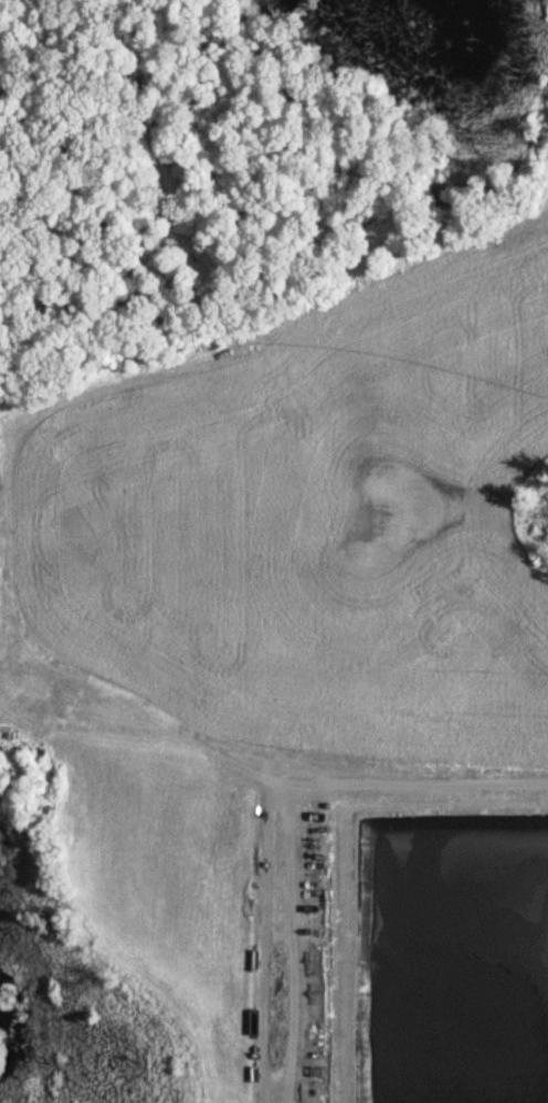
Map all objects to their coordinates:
road: (214, 290)
road: (87, 675)
road: (283, 817)

